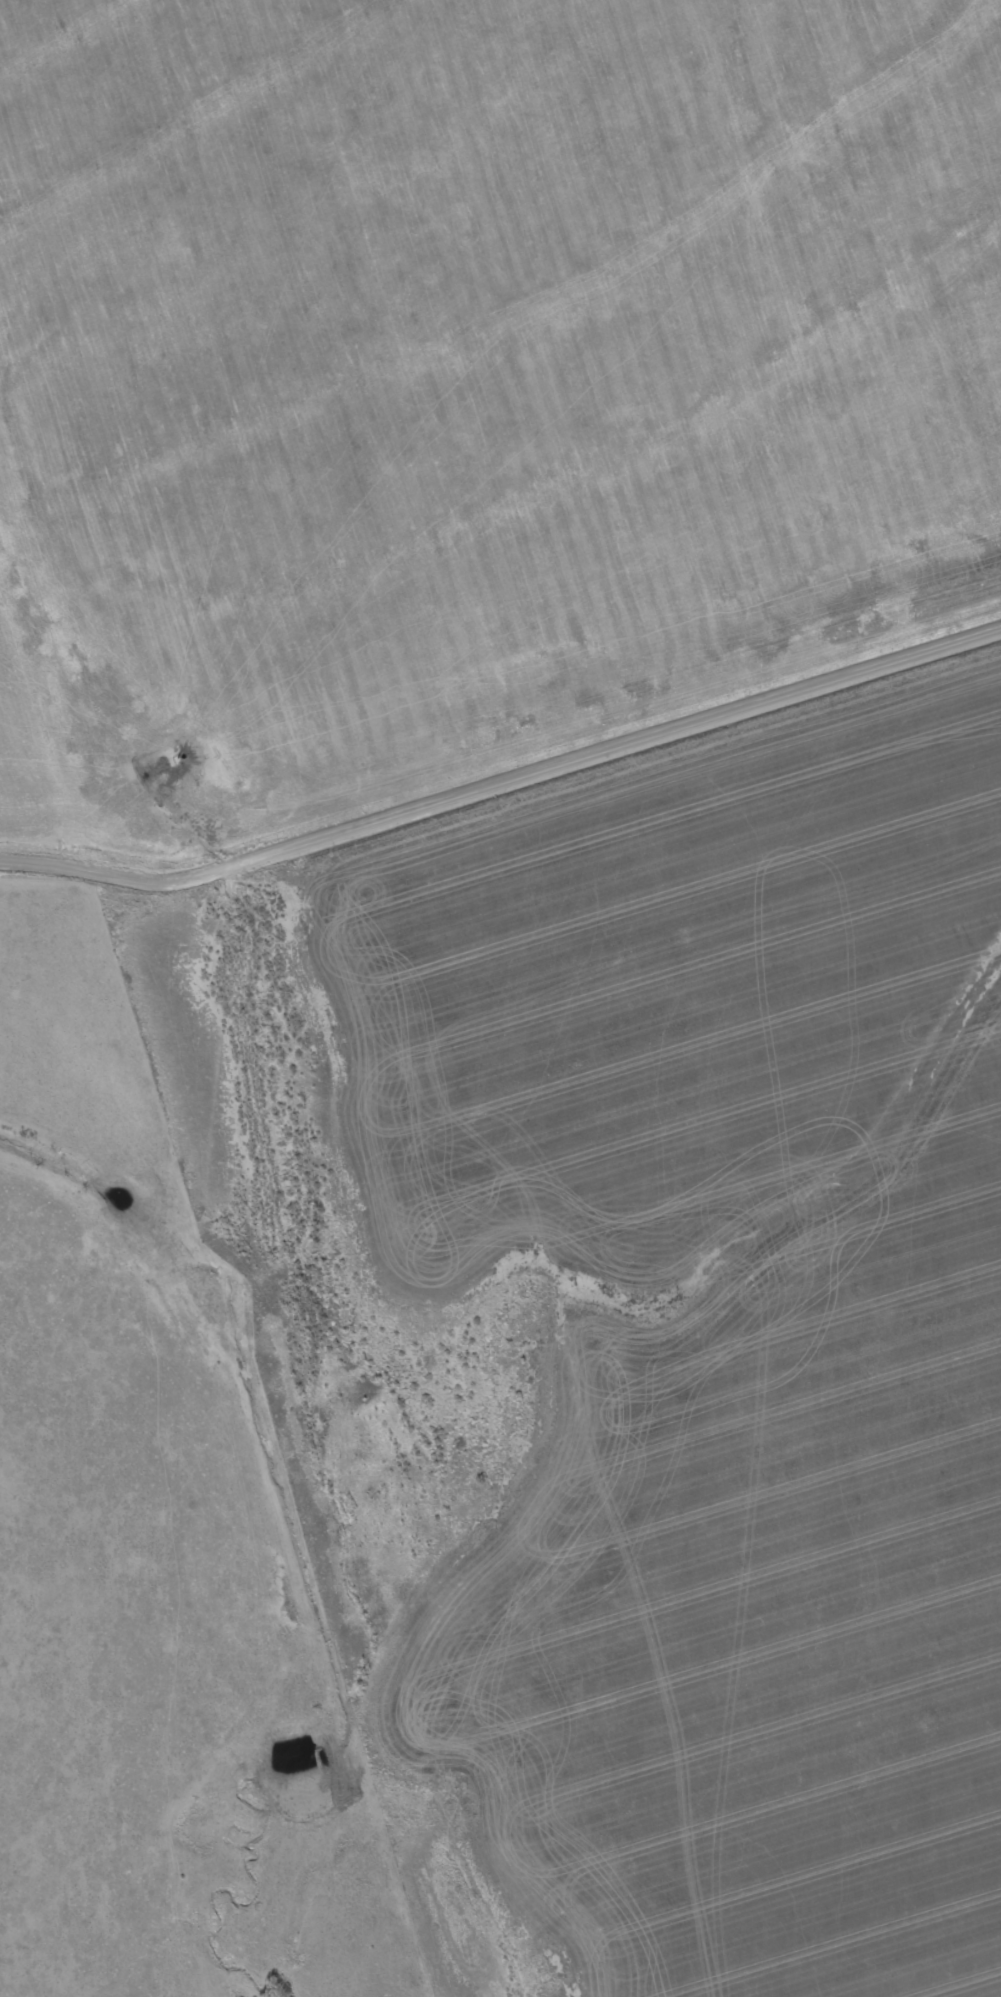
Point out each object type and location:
road: (504, 778)

